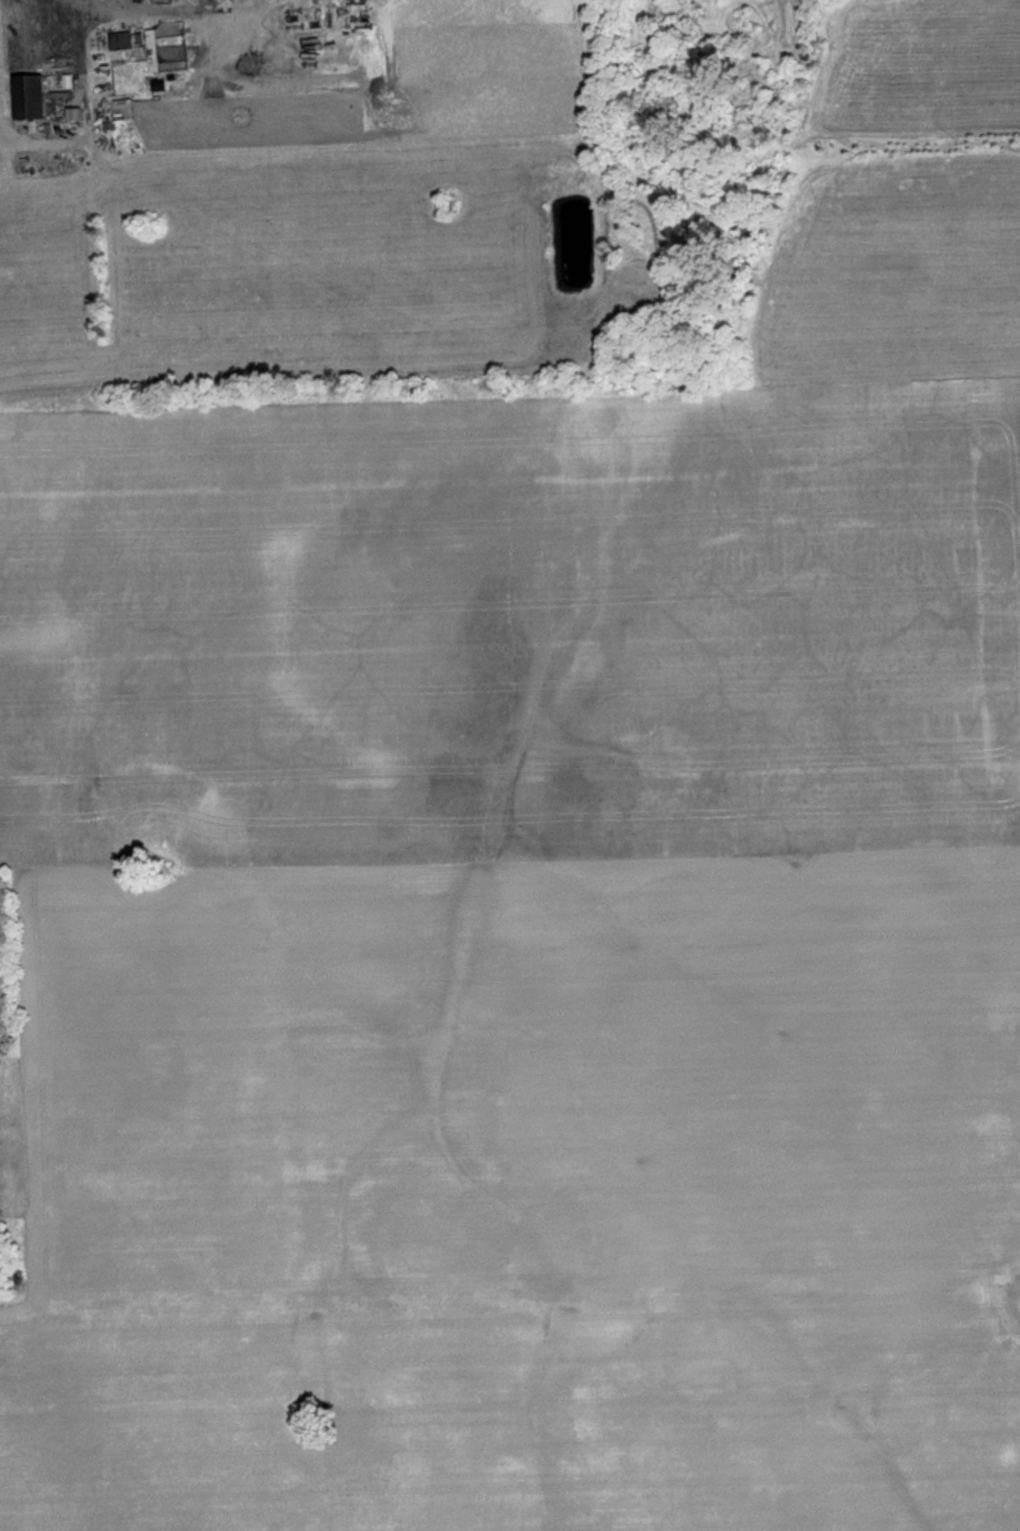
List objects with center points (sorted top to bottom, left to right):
building: (123, 43)
building: (156, 52)
building: (34, 99)

